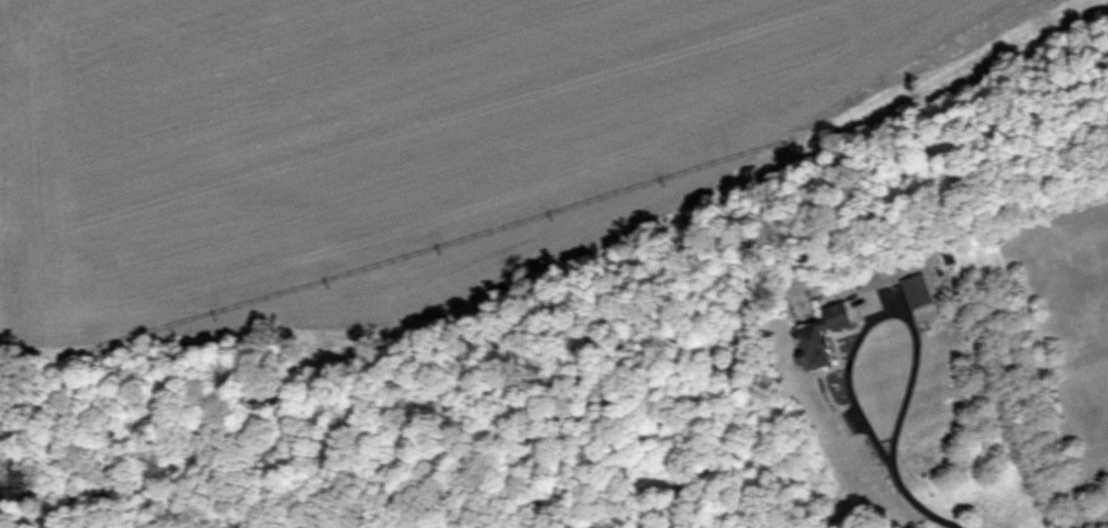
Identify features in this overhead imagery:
crop: (373, 138)
building: (917, 292)
building: (853, 310)
road: (844, 341)
building: (812, 349)
road: (965, 504)

